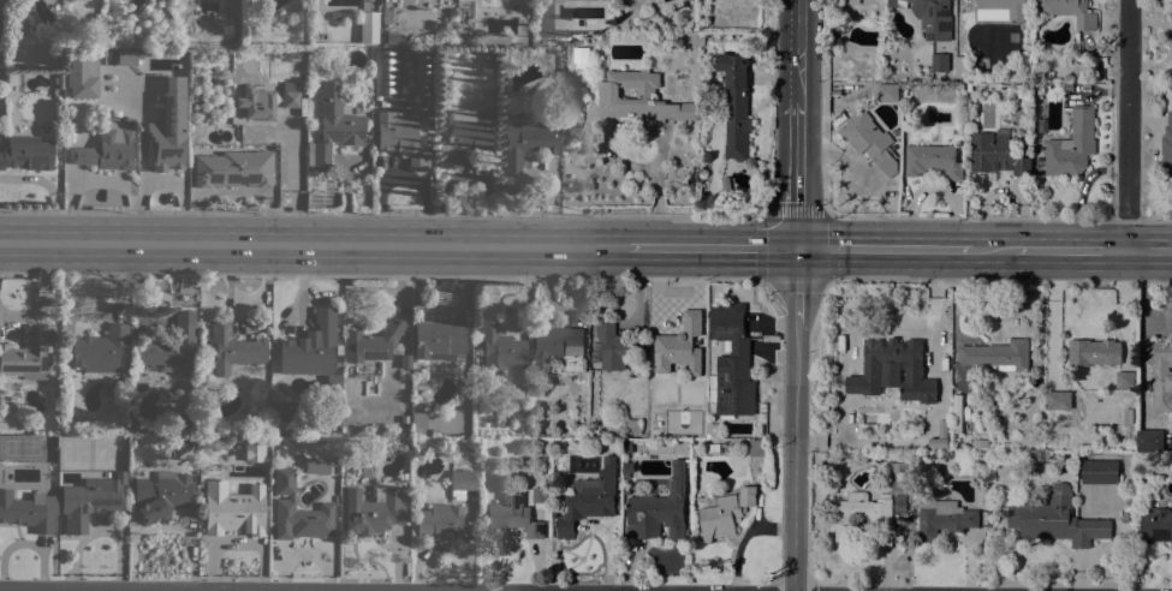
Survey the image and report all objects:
building: (67, 1)
building: (850, 1)
building: (1004, 7)
building: (1069, 11)
building: (334, 16)
building: (212, 17)
building: (16, 18)
building: (933, 18)
building: (368, 28)
building: (322, 36)
building: (391, 37)
building: (469, 40)
road: (798, 50)
building: (124, 58)
building: (490, 59)
building: (940, 62)
building: (960, 66)
building: (422, 72)
building: (386, 73)
building: (83, 78)
building: (60, 80)
building: (887, 92)
building: (487, 94)
building: (292, 95)
building: (639, 97)
building: (428, 100)
building: (256, 102)
building: (383, 102)
building: (736, 105)
building: (428, 117)
building: (334, 125)
road: (1128, 125)
building: (168, 127)
building: (429, 129)
building: (399, 136)
building: (465, 136)
building: (427, 141)
building: (870, 142)
building: (1167, 143)
building: (525, 144)
building: (1072, 145)
building: (108, 148)
building: (26, 153)
building: (997, 153)
building: (933, 160)
building: (234, 168)
road: (798, 174)
building: (707, 201)
road: (1149, 220)
road: (313, 244)
road: (710, 246)
traffic signals: (797, 247)
road: (882, 249)
road: (990, 250)
road: (1069, 250)
road: (1149, 251)
road: (827, 283)
road: (797, 286)
building: (659, 327)
building: (760, 335)
building: (438, 338)
building: (371, 342)
building: (171, 345)
building: (310, 346)
building: (615, 346)
building: (678, 346)
building: (558, 347)
building: (99, 348)
building: (233, 348)
building: (501, 352)
building: (1094, 353)
building: (29, 354)
building: (998, 354)
building: (891, 356)
building: (404, 359)
building: (732, 362)
building: (942, 368)
building: (125, 369)
building: (1160, 372)
building: (109, 389)
building: (1123, 389)
building: (927, 390)
building: (977, 395)
building: (865, 399)
building: (287, 411)
building: (957, 413)
building: (1128, 416)
building: (417, 422)
building: (935, 423)
building: (136, 426)
building: (632, 426)
building: (165, 428)
building: (185, 428)
building: (710, 430)
building: (274, 440)
building: (1149, 440)
building: (969, 441)
building: (956, 442)
building: (210, 443)
building: (982, 443)
building: (627, 446)
building: (903, 447)
building: (252, 448)
building: (716, 448)
building: (756, 448)
building: (272, 453)
building: (905, 455)
road: (795, 456)
building: (843, 458)
building: (316, 465)
building: (627, 467)
building: (831, 467)
building: (840, 468)
building: (1099, 471)
building: (897, 476)
building: (460, 482)
building: (540, 494)
building: (160, 495)
building: (588, 499)
building: (89, 500)
building: (232, 508)
building: (29, 509)
building: (373, 509)
building: (659, 509)
building: (297, 511)
building: (859, 512)
building: (725, 514)
building: (941, 515)
building: (512, 517)
building: (1124, 517)
building: (1055, 519)
building: (440, 521)
building: (1156, 525)
building: (894, 532)

